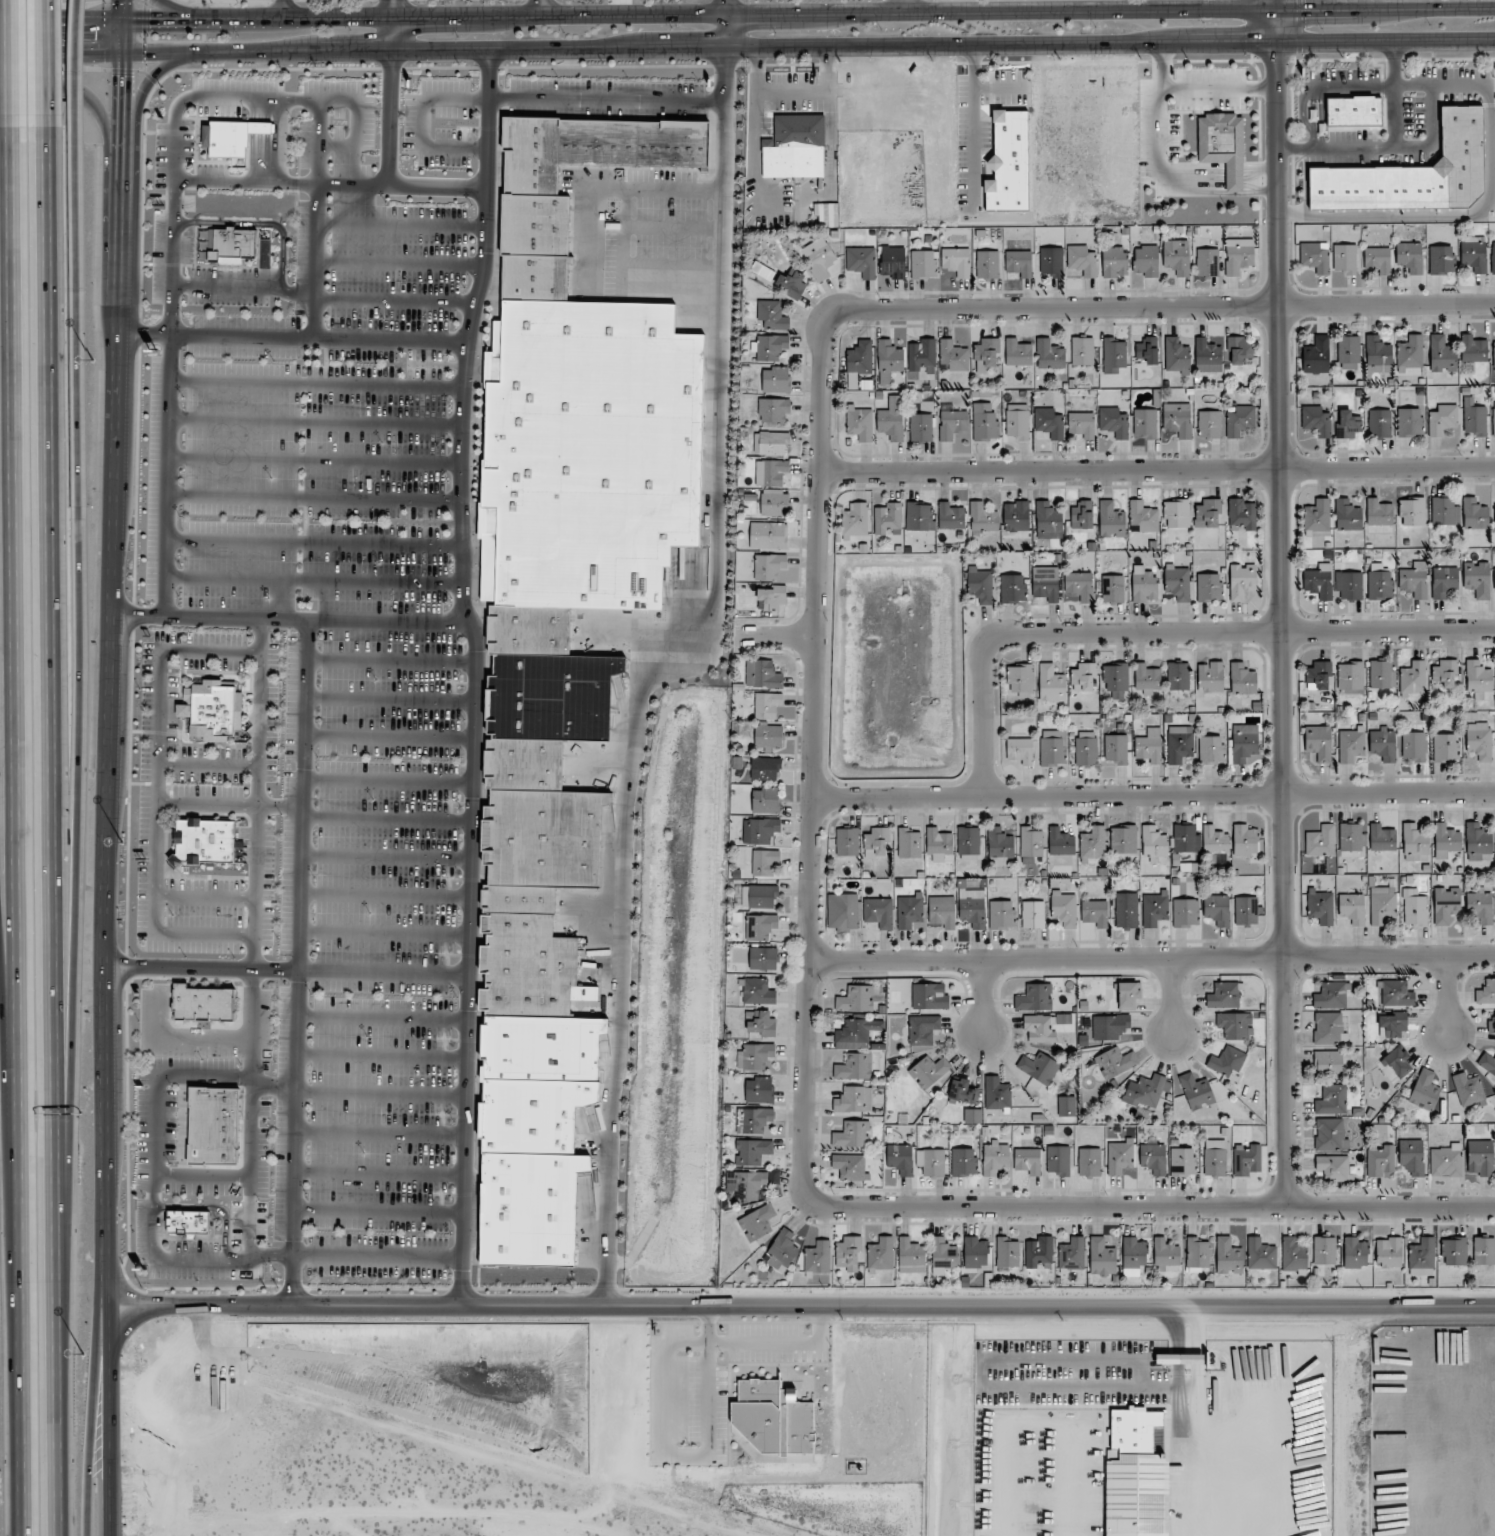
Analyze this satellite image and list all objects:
road: (1274, 4)
road: (1277, 4)
road: (724, 6)
road: (907, 6)
road: (391, 7)
road: (540, 8)
road: (185, 9)
road: (280, 9)
road: (392, 12)
road: (808, 12)
traffic signals: (150, 20)
road: (61, 21)
road: (123, 28)
road: (724, 30)
road: (392, 33)
road: (808, 47)
road: (61, 57)
traffic signals: (91, 57)
road: (6, 66)
road: (48, 66)
traffic signals: (123, 77)
road: (74, 88)
road: (147, 88)
road: (268, 99)
road: (605, 102)
building: (1354, 110)
road: (390, 119)
road: (973, 125)
road: (421, 126)
building: (232, 136)
building: (635, 142)
road: (315, 143)
building: (1224, 144)
building: (795, 146)
building: (531, 154)
building: (1009, 161)
road: (348, 167)
building: (1412, 174)
road: (330, 186)
road: (656, 189)
road: (355, 206)
building: (826, 214)
road: (253, 224)
building: (536, 224)
road: (588, 225)
road: (655, 225)
road: (399, 227)
building: (231, 244)
building: (1474, 253)
building: (1239, 255)
building: (1410, 256)
building: (1315, 257)
road: (171, 258)
building: (819, 258)
building: (1176, 258)
building: (1345, 258)
building: (1493, 258)
building: (1378, 259)
building: (1441, 259)
building: (1082, 260)
building: (862, 261)
building: (893, 261)
building: (956, 261)
building: (1115, 261)
building: (1146, 261)
road: (313, 262)
building: (1051, 262)
building: (1207, 262)
road: (397, 263)
building: (922, 263)
building: (1019, 263)
road: (654, 265)
building: (987, 265)
building: (537, 278)
building: (792, 284)
road: (243, 285)
road: (393, 300)
road: (1162, 308)
building: (771, 315)
road: (294, 338)
building: (770, 347)
building: (1474, 349)
building: (1147, 350)
building: (1238, 350)
building: (1082, 351)
building: (1018, 352)
building: (1348, 352)
building: (1411, 352)
building: (987, 353)
building: (1049, 354)
building: (1114, 354)
building: (1177, 354)
building: (1378, 354)
building: (1442, 354)
building: (1494, 354)
building: (922, 355)
building: (954, 355)
building: (1317, 355)
building: (1207, 356)
building: (889, 361)
building: (859, 362)
building: (776, 380)
road: (317, 385)
building: (773, 410)
building: (1474, 417)
building: (892, 419)
building: (1178, 419)
building: (1443, 419)
building: (1493, 419)
building: (1240, 420)
building: (1316, 420)
building: (1017, 421)
building: (1049, 422)
building: (1114, 422)
building: (860, 423)
building: (953, 423)
building: (985, 423)
building: (1145, 423)
building: (1379, 423)
building: (1410, 423)
road: (315, 424)
building: (1082, 424)
building: (1209, 425)
building: (1347, 425)
building: (921, 427)
building: (773, 442)
building: (583, 455)
road: (314, 461)
road: (1158, 470)
building: (770, 472)
road: (166, 476)
road: (314, 498)
building: (774, 504)
building: (1412, 511)
building: (1445, 511)
building: (1379, 512)
building: (1177, 513)
building: (1207, 514)
building: (1474, 514)
building: (1082, 515)
building: (1241, 515)
building: (1317, 515)
building: (1347, 515)
building: (919, 516)
building: (951, 516)
building: (1017, 516)
building: (983, 518)
building: (888, 519)
building: (855, 520)
building: (1111, 520)
building: (1048, 521)
building: (1494, 525)
building: (767, 535)
road: (313, 544)
building: (769, 566)
building: (1477, 578)
building: (1241, 580)
building: (1414, 580)
building: (1494, 580)
road: (313, 581)
building: (1319, 581)
building: (1444, 581)
building: (1177, 582)
building: (1046, 583)
building: (1144, 584)
building: (1349, 584)
building: (980, 585)
building: (1380, 585)
building: (1078, 586)
building: (1209, 587)
building: (1013, 588)
building: (1113, 588)
building: (772, 597)
road: (1283, 607)
road: (290, 619)
building: (531, 631)
road: (1164, 633)
road: (774, 636)
road: (79, 640)
road: (391, 664)
road: (655, 669)
building: (762, 674)
building: (1318, 674)
building: (1382, 674)
building: (1444, 674)
road: (474, 676)
building: (1083, 676)
building: (1178, 676)
building: (1210, 677)
building: (1350, 677)
building: (1413, 677)
building: (1021, 678)
road: (111, 679)
building: (1147, 679)
building: (1242, 679)
building: (1478, 679)
building: (1116, 680)
building: (1051, 684)
building: (552, 695)
road: (390, 702)
building: (767, 705)
building: (213, 709)
building: (768, 737)
road: (389, 738)
building: (1479, 740)
building: (1244, 742)
building: (1319, 742)
building: (1179, 744)
building: (1351, 744)
building: (1383, 744)
building: (1149, 746)
building: (1053, 747)
building: (1413, 747)
building: (1086, 748)
building: (1446, 748)
building: (1116, 749)
building: (1020, 750)
building: (1210, 750)
road: (814, 755)
building: (525, 763)
building: (765, 768)
road: (388, 782)
road: (257, 795)
road: (1154, 795)
building: (766, 800)
road: (387, 818)
building: (760, 830)
road: (54, 833)
road: (10, 834)
building: (542, 836)
building: (1351, 837)
building: (1184, 838)
building: (1382, 838)
building: (1123, 839)
building: (968, 840)
building: (1244, 840)
building: (1446, 840)
building: (205, 841)
building: (847, 841)
building: (1031, 841)
building: (1215, 841)
building: (1321, 841)
building: (1477, 841)
building: (876, 842)
building: (1060, 842)
building: (1414, 842)
building: (909, 843)
building: (1093, 843)
building: (1154, 843)
building: (939, 844)
building: (1000, 844)
road: (386, 858)
building: (764, 862)
building: (763, 896)
road: (385, 897)
building: (519, 898)
building: (1446, 904)
building: (1382, 905)
building: (1320, 906)
building: (1480, 907)
building: (1155, 908)
building: (1352, 908)
building: (1414, 908)
building: (1063, 909)
building: (1217, 909)
building: (1126, 910)
building: (1246, 910)
building: (909, 911)
building: (942, 911)
building: (878, 912)
building: (1095, 913)
building: (1185, 913)
building: (1002, 914)
building: (1033, 914)
building: (760, 926)
road: (384, 935)
building: (763, 958)
road: (1152, 958)
road: (299, 961)
building: (597, 961)
building: (527, 966)
road: (202, 970)
road: (383, 974)
building: (757, 992)
building: (1486, 992)
building: (1396, 993)
building: (1127, 995)
road: (1173, 995)
building: (1224, 995)
building: (1331, 995)
road: (1449, 995)
building: (929, 996)
road: (984, 997)
building: (1035, 997)
building: (856, 999)
building: (204, 1003)
road: (382, 1019)
building: (1491, 1022)
building: (1235, 1025)
building: (1393, 1025)
building: (1111, 1027)
building: (1041, 1028)
building: (1328, 1028)
building: (923, 1029)
building: (855, 1033)
road: (4, 1045)
building: (543, 1045)
road: (381, 1056)
building: (754, 1056)
building: (1227, 1060)
building: (1115, 1062)
building: (1328, 1062)
building: (1397, 1062)
building: (1487, 1063)
building: (854, 1067)
building: (1039, 1067)
building: (929, 1071)
building: (759, 1090)
building: (1150, 1090)
building: (1425, 1090)
building: (1468, 1090)
building: (962, 1091)
building: (1196, 1092)
building: (997, 1094)
road: (380, 1095)
building: (854, 1100)
building: (1332, 1100)
building: (1067, 1106)
building: (533, 1113)
building: (973, 1116)
building: (753, 1120)
building: (214, 1125)
road: (380, 1133)
building: (852, 1134)
building: (1330, 1134)
building: (752, 1151)
building: (1412, 1156)
building: (1120, 1157)
building: (1215, 1157)
building: (900, 1158)
building: (995, 1158)
building: (1153, 1158)
building: (1480, 1158)
building: (1246, 1159)
building: (1028, 1160)
building: (1380, 1160)
building: (1058, 1161)
building: (1446, 1161)
building: (931, 1162)
building: (963, 1162)
building: (1089, 1162)
building: (1183, 1162)
building: (850, 1166)
building: (1333, 1167)
road: (379, 1173)
building: (748, 1184)
building: (531, 1206)
road: (1151, 1206)
road: (378, 1212)
building: (189, 1222)
building: (757, 1222)
building: (781, 1250)
building: (1324, 1250)
building: (1484, 1250)
building: (1454, 1251)
building: (976, 1252)
building: (1133, 1252)
building: (1165, 1252)
building: (1197, 1252)
building: (1355, 1252)
building: (848, 1253)
building: (1039, 1253)
building: (1388, 1253)
building: (881, 1254)
building: (1007, 1254)
building: (1072, 1254)
building: (1261, 1254)
building: (1293, 1254)
building: (943, 1255)
road: (377, 1256)
building: (911, 1256)
building: (1228, 1256)
building: (818, 1257)
building: (1102, 1257)
building: (1421, 1257)
road: (799, 1305)
road: (1184, 1327)
road: (746, 1343)
road: (1185, 1354)
building: (1181, 1357)
road: (97, 1419)
road: (109, 1419)
building: (774, 1421)
road: (1186, 1447)
building: (1136, 1476)

